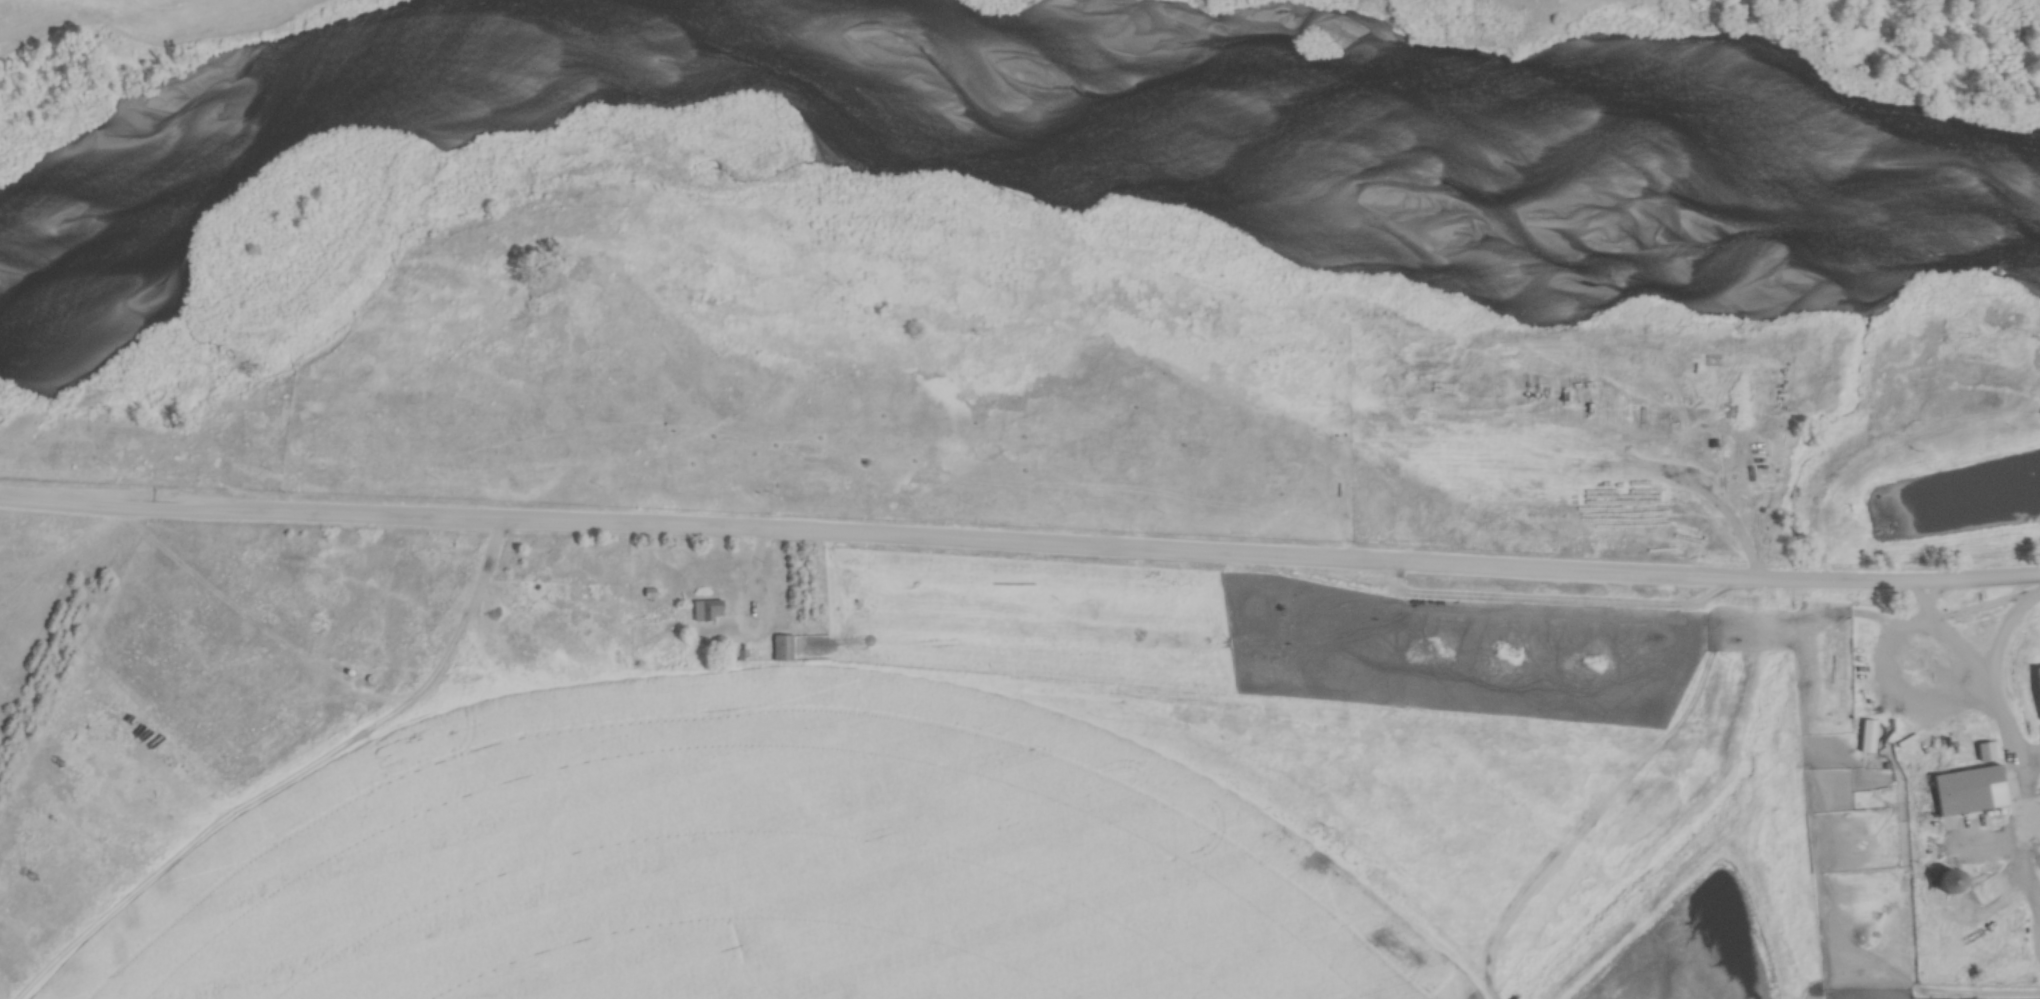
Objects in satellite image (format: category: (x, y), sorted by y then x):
river: (986, 62)
road: (1019, 542)
road: (756, 557)
building: (709, 612)
road: (749, 635)
building: (784, 650)
building: (2038, 677)
road: (1994, 696)
building: (1871, 738)
building: (1991, 754)
building: (1970, 792)
crop: (760, 863)
building: (1953, 884)

